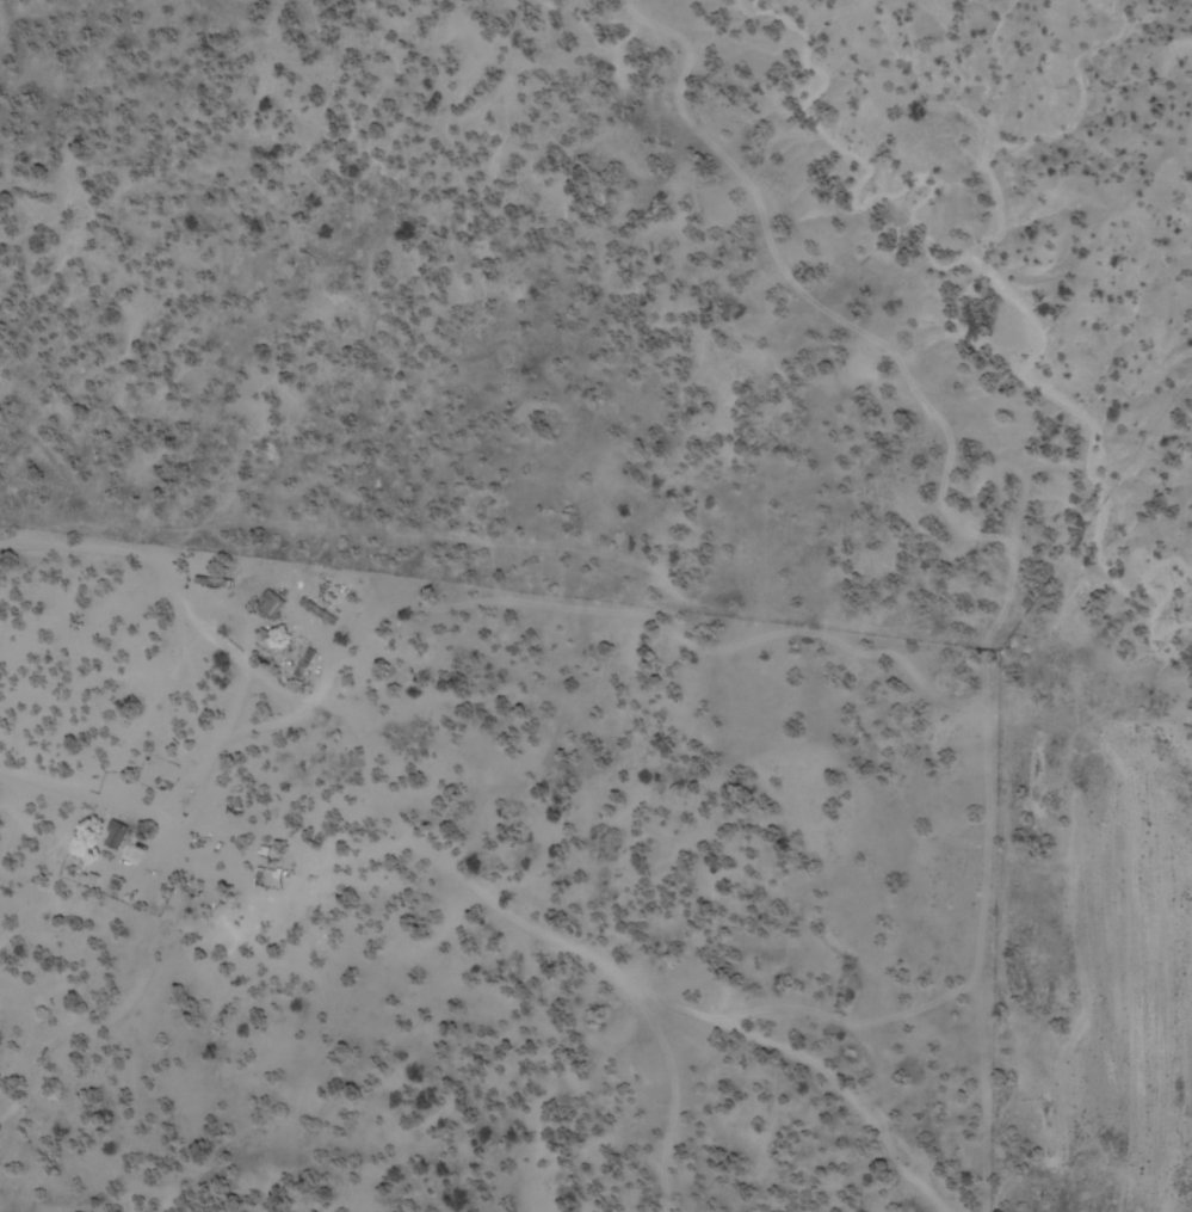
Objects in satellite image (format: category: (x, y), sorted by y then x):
building: (214, 583)
road: (178, 593)
building: (271, 604)
road: (498, 799)
building: (118, 835)
road: (857, 1096)

